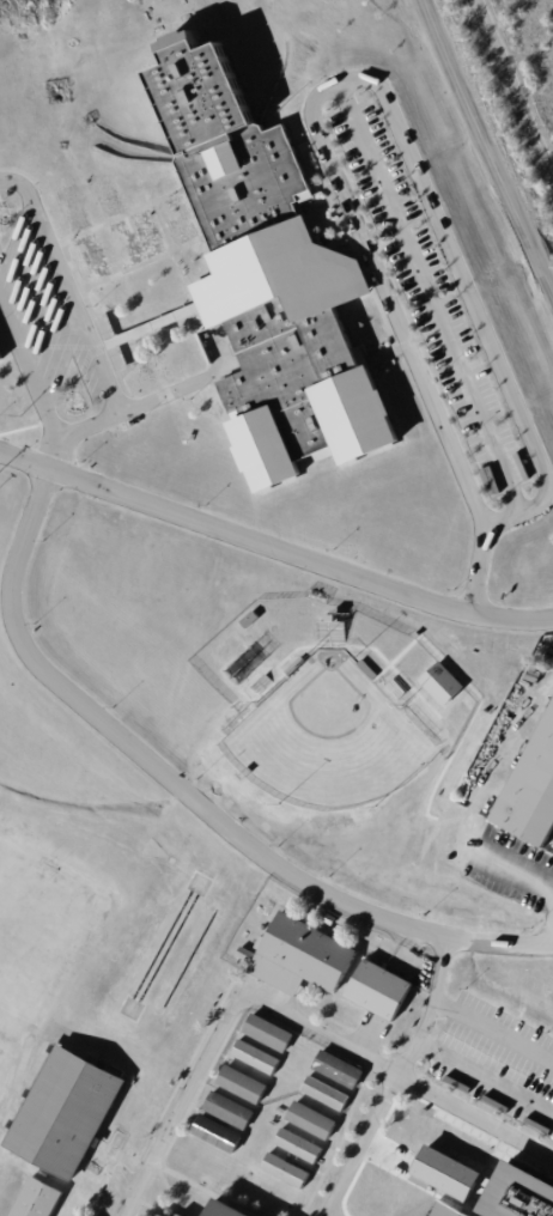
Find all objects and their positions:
road: (365, 79)
road: (496, 139)
building: (274, 290)
parking lot: (426, 298)
road: (426, 298)
road: (78, 318)
parking lot: (45, 320)
building: (1, 354)
road: (29, 372)
road: (53, 454)
road: (273, 549)
road: (479, 573)
building: (339, 619)
building: (250, 620)
building: (329, 631)
building: (296, 667)
building: (367, 669)
building: (433, 683)
park: (324, 743)
road: (187, 798)
building: (534, 801)
road: (519, 874)
building: (333, 918)
building: (304, 962)
building: (502, 974)
building: (545, 991)
building: (383, 996)
building: (488, 999)
road: (440, 1004)
road: (273, 1013)
building: (539, 1017)
building: (476, 1021)
building: (268, 1032)
road: (424, 1040)
building: (463, 1046)
building: (530, 1050)
building: (255, 1056)
parking lot: (494, 1062)
building: (336, 1069)
building: (451, 1071)
building: (517, 1075)
road: (409, 1082)
building: (242, 1083)
building: (324, 1092)
building: (502, 1102)
building: (229, 1108)
road: (545, 1111)
building: (310, 1119)
building: (67, 1120)
building: (217, 1132)
building: (297, 1144)
building: (284, 1169)
building: (521, 1197)
building: (42, 1204)
building: (225, 1211)
building: (446, 1212)

